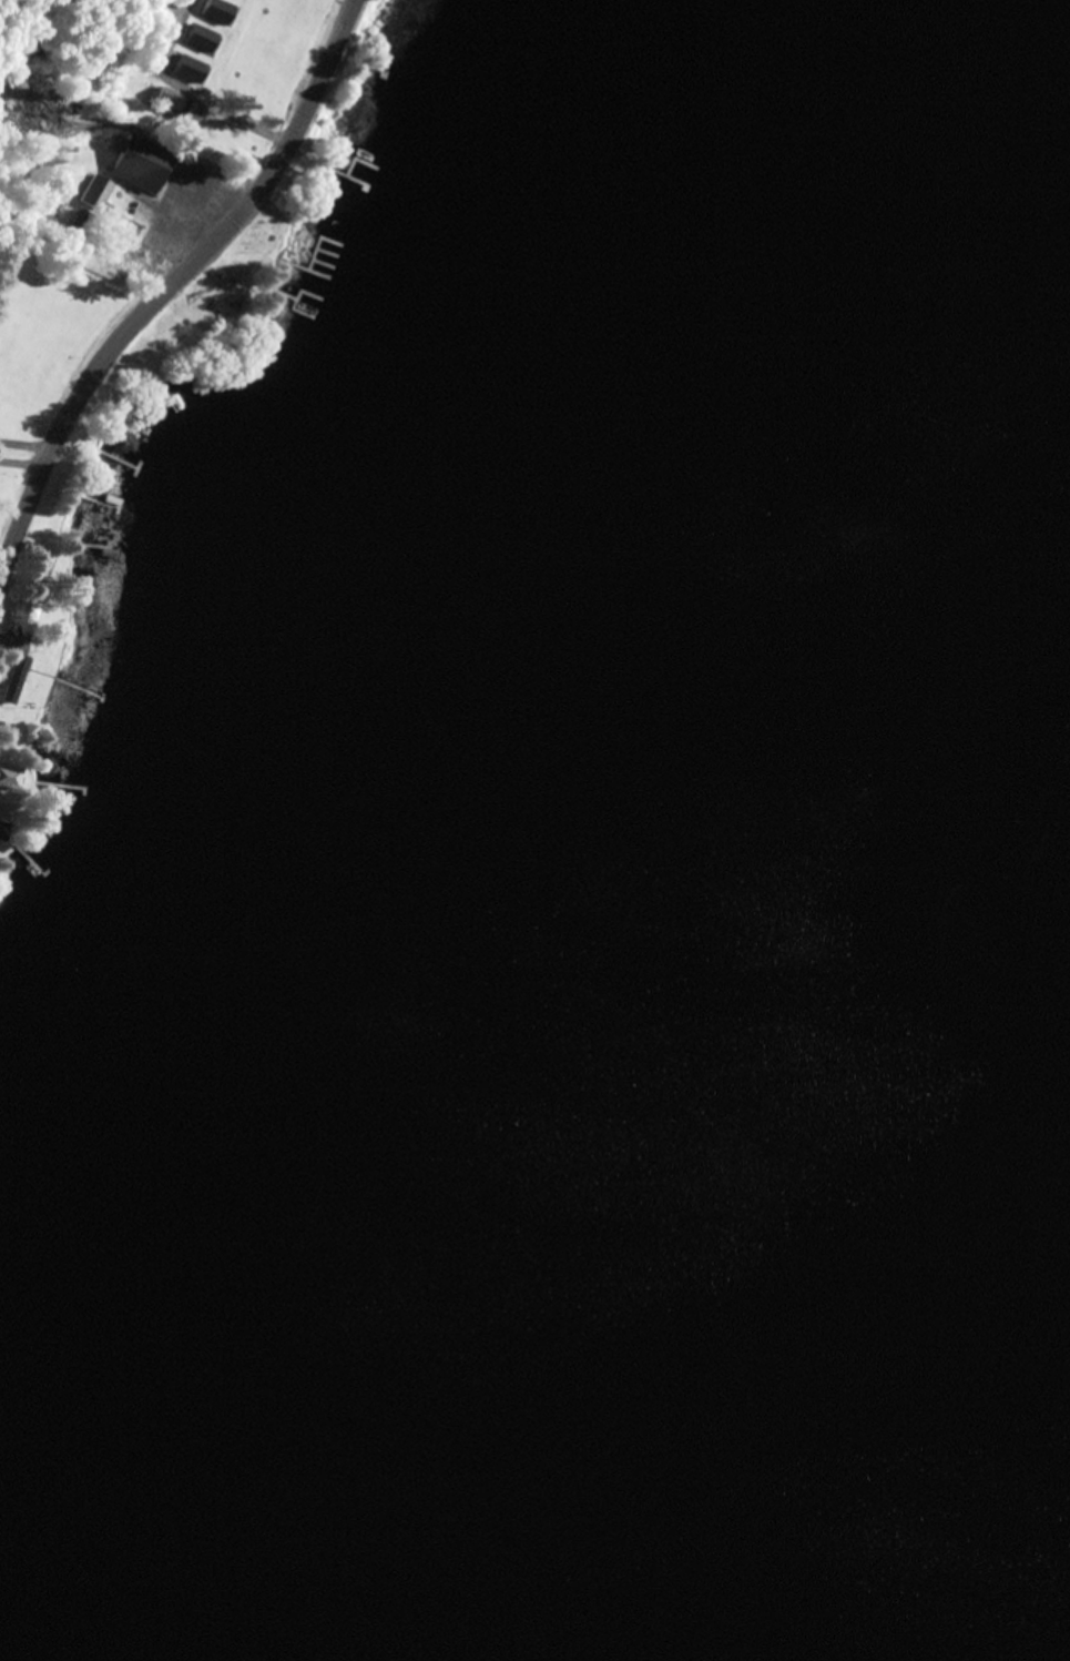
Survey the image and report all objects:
building: (220, 10)
building: (204, 38)
building: (192, 68)
building: (175, 101)
building: (142, 162)
building: (99, 192)
building: (84, 227)
road: (171, 288)
building: (28, 612)
building: (17, 678)
building: (11, 776)
building: (3, 830)

